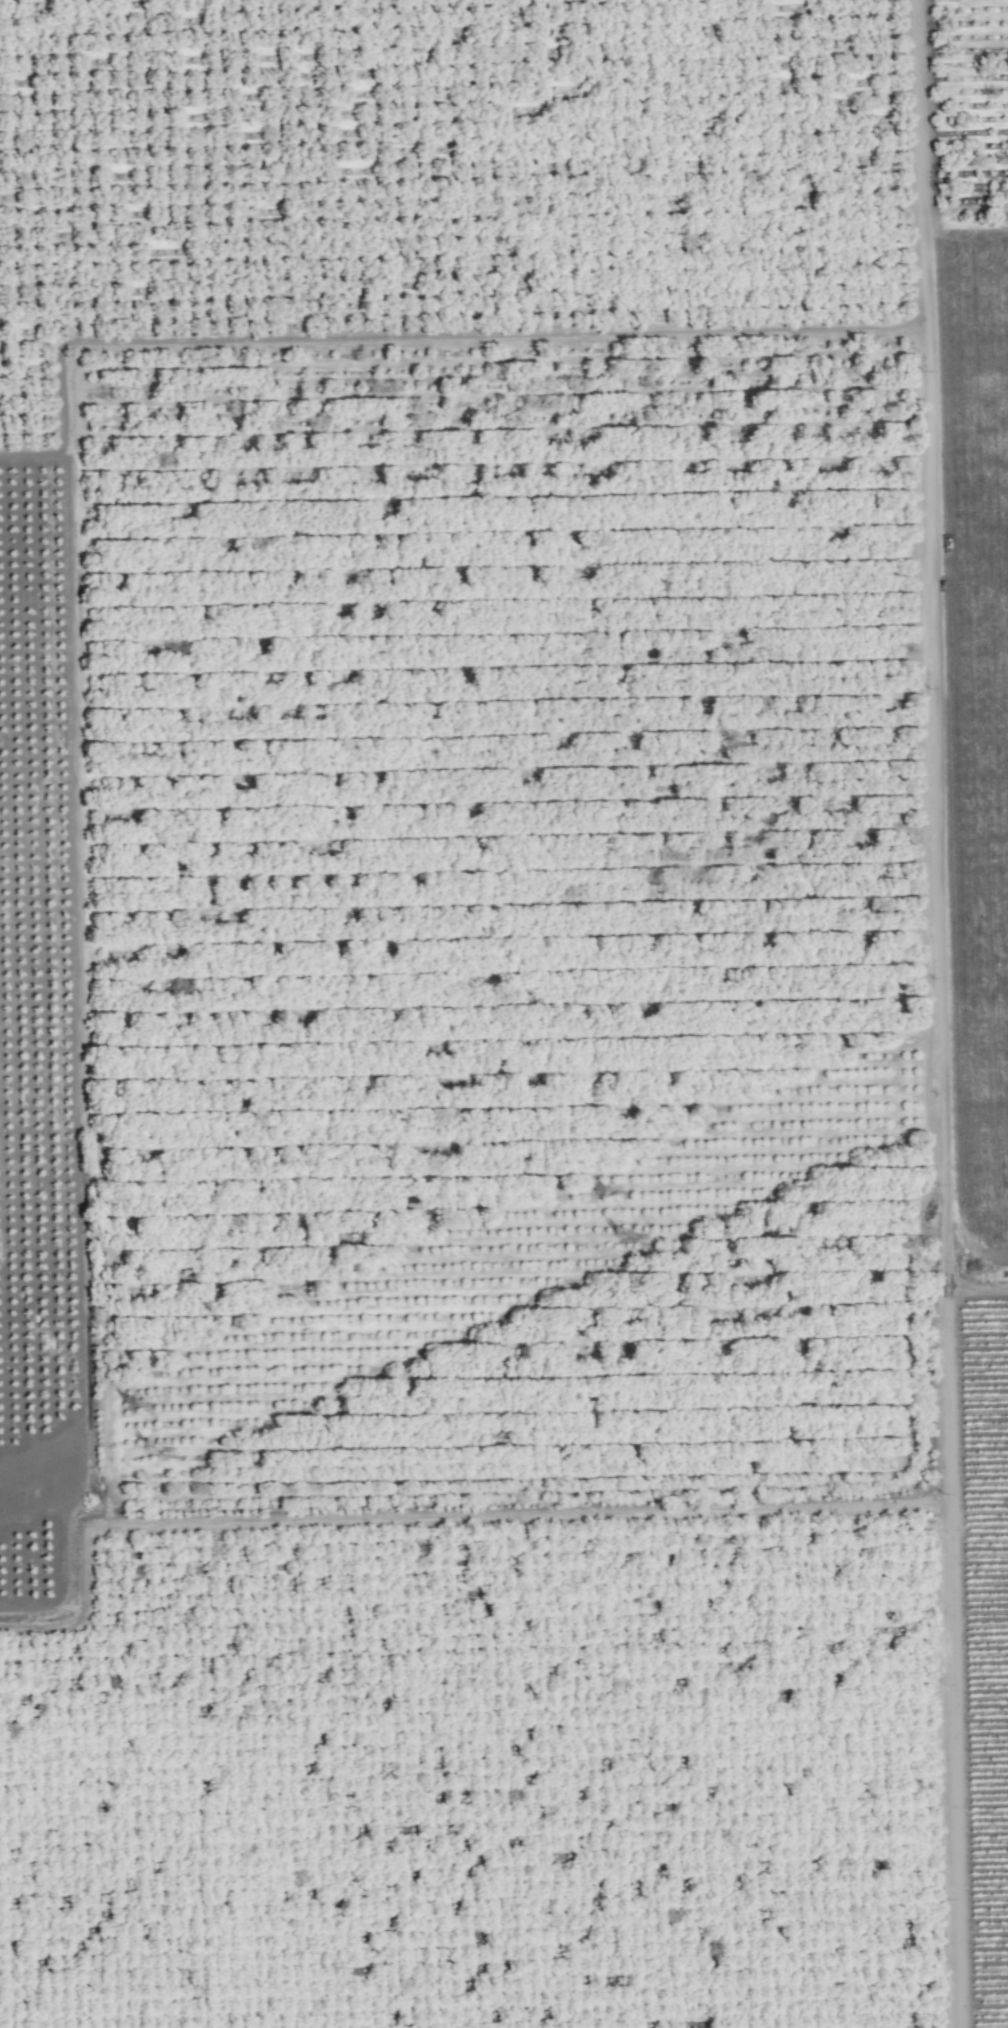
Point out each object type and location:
road: (940, 1014)
power tower: (602, 1197)
power tower: (621, 1241)
power tower: (131, 1409)
power tower: (149, 1451)

